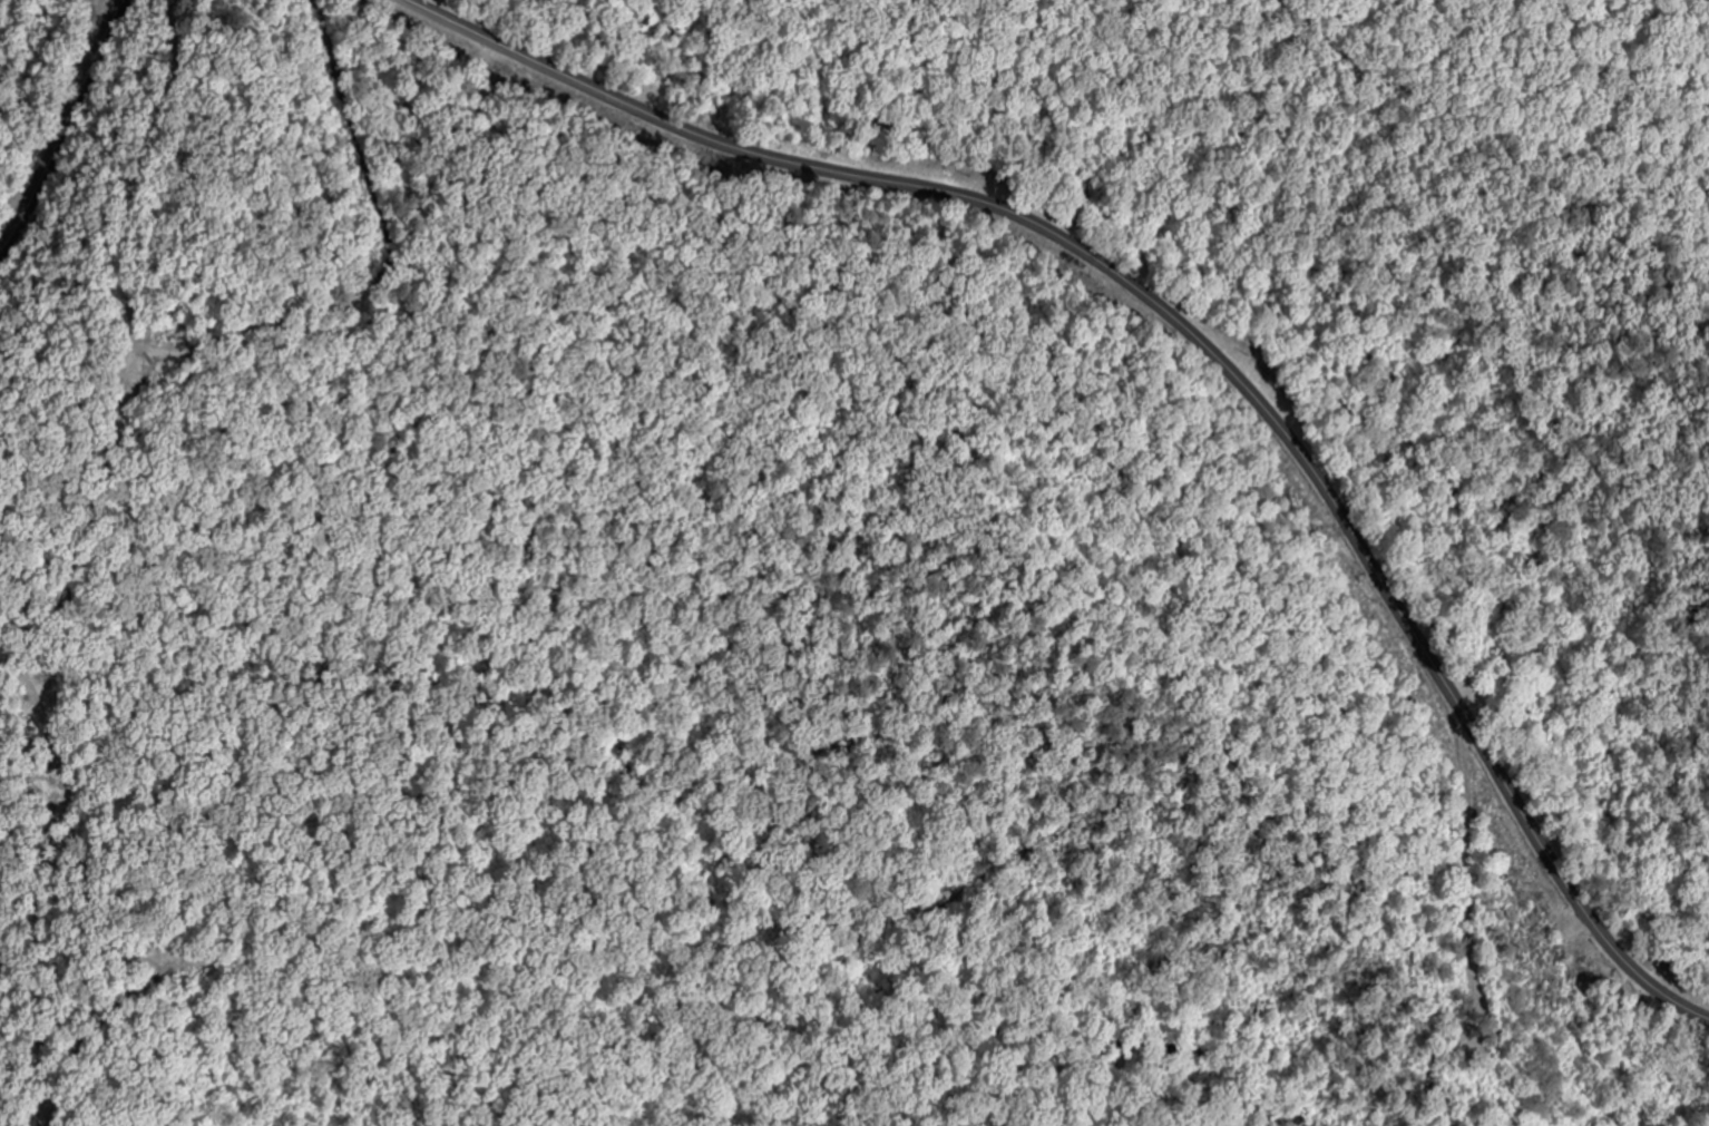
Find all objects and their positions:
road: (65, 126)
road: (412, 310)
road: (1194, 336)
road: (102, 558)

